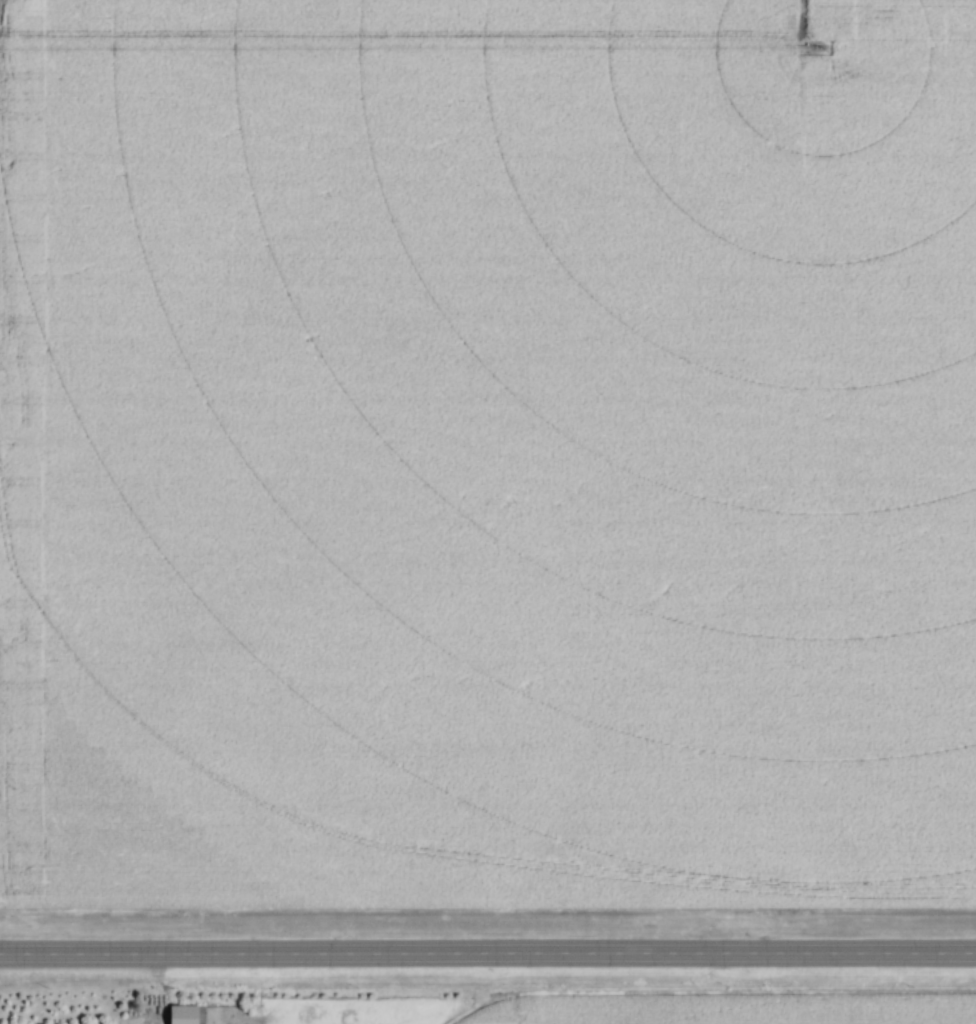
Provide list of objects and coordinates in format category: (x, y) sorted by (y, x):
road: (488, 959)
building: (183, 1014)

